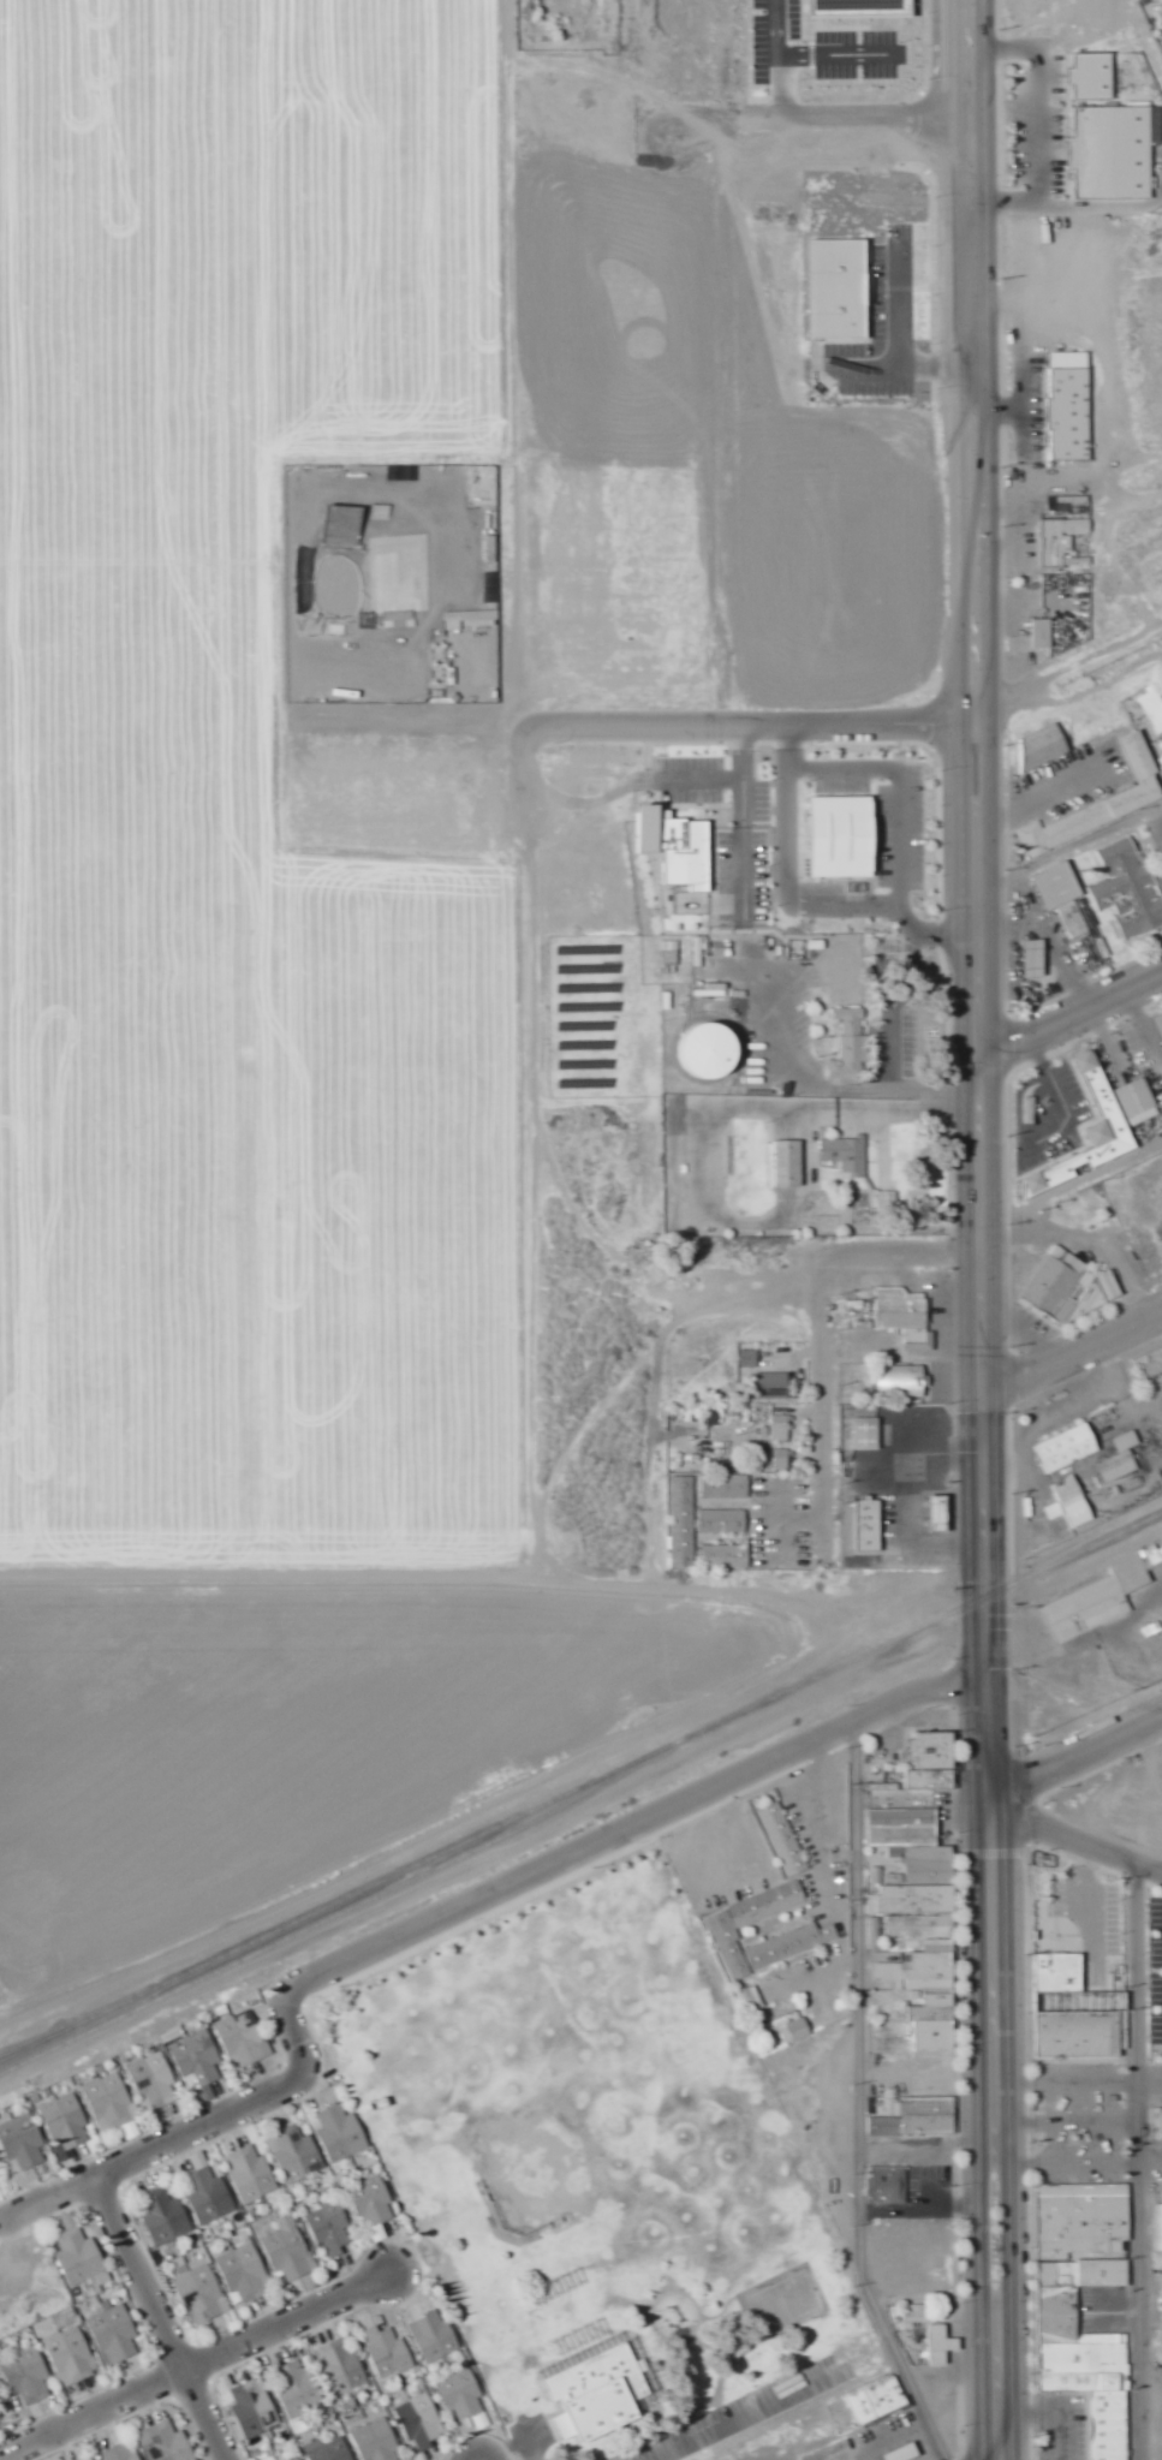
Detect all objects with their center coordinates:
building: (863, 8)
building: (1161, 42)
building: (1094, 76)
building: (1115, 151)
building: (1071, 406)
building: (344, 525)
building: (1062, 541)
building: (1043, 633)
building: (1154, 709)
road: (881, 723)
road: (673, 725)
building: (1043, 746)
road: (701, 776)
road: (894, 788)
building: (1103, 803)
road: (744, 820)
building: (844, 838)
building: (678, 846)
building: (1128, 892)
building: (1062, 897)
road: (800, 905)
building: (671, 953)
building: (1035, 959)
building: (850, 971)
road: (1069, 1006)
building: (1160, 1021)
building: (850, 1044)
building: (714, 1052)
road: (977, 1067)
building: (1138, 1102)
building: (1031, 1110)
building: (675, 1114)
building: (1091, 1131)
building: (847, 1155)
building: (788, 1163)
building: (888, 1201)
building: (1066, 1289)
road: (809, 1316)
building: (905, 1317)
road: (893, 1350)
road: (1072, 1350)
building: (750, 1359)
building: (901, 1382)
building: (773, 1386)
building: (782, 1428)
building: (868, 1435)
building: (1068, 1449)
building: (783, 1459)
building: (1121, 1459)
building: (726, 1487)
building: (1074, 1502)
building: (1054, 1512)
building: (723, 1521)
building: (683, 1523)
building: (869, 1525)
building: (726, 1556)
building: (1087, 1609)
road: (1073, 1761)
building: (935, 1762)
railway: (580, 1786)
road: (1041, 1823)
road: (633, 1834)
building: (783, 1839)
road: (1127, 1850)
road: (1095, 1899)
building: (928, 1925)
railway: (310, 1926)
building: (895, 1926)
building: (725, 1928)
building: (875, 1932)
building: (922, 1968)
building: (1060, 1972)
building: (752, 1999)
building: (935, 2024)
building: (800, 2029)
building: (1079, 2033)
building: (243, 2039)
railway: (11, 2051)
building: (197, 2056)
building: (154, 2079)
road: (1149, 2079)
building: (111, 2102)
road: (854, 2107)
building: (914, 2116)
building: (65, 2122)
building: (341, 2133)
road: (191, 2137)
building: (22, 2142)
building: (296, 2154)
road: (1137, 2156)
road: (1071, 2162)
park: (595, 2168)
building: (251, 2175)
building: (889, 2185)
building: (208, 2192)
building: (373, 2204)
building: (165, 2216)
building: (1161, 2226)
building: (330, 2228)
building: (288, 2247)
building: (82, 2256)
building: (244, 2271)
building: (199, 2291)
road: (1005, 2294)
road: (981, 2295)
building: (1059, 2310)
building: (914, 2317)
road: (165, 2319)
building: (114, 2334)
building: (435, 2336)
building: (941, 2345)
building: (388, 2352)
building: (70, 2357)
building: (341, 2366)
road: (198, 2369)
building: (26, 2375)
building: (297, 2388)
building: (598, 2395)
building: (465, 2398)
building: (880, 2400)
building: (254, 2408)
road: (752, 2417)
building: (422, 2422)
building: (377, 2441)
building: (167, 2442)
building: (329, 2449)
building: (121, 2452)
building: (298, 2459)

